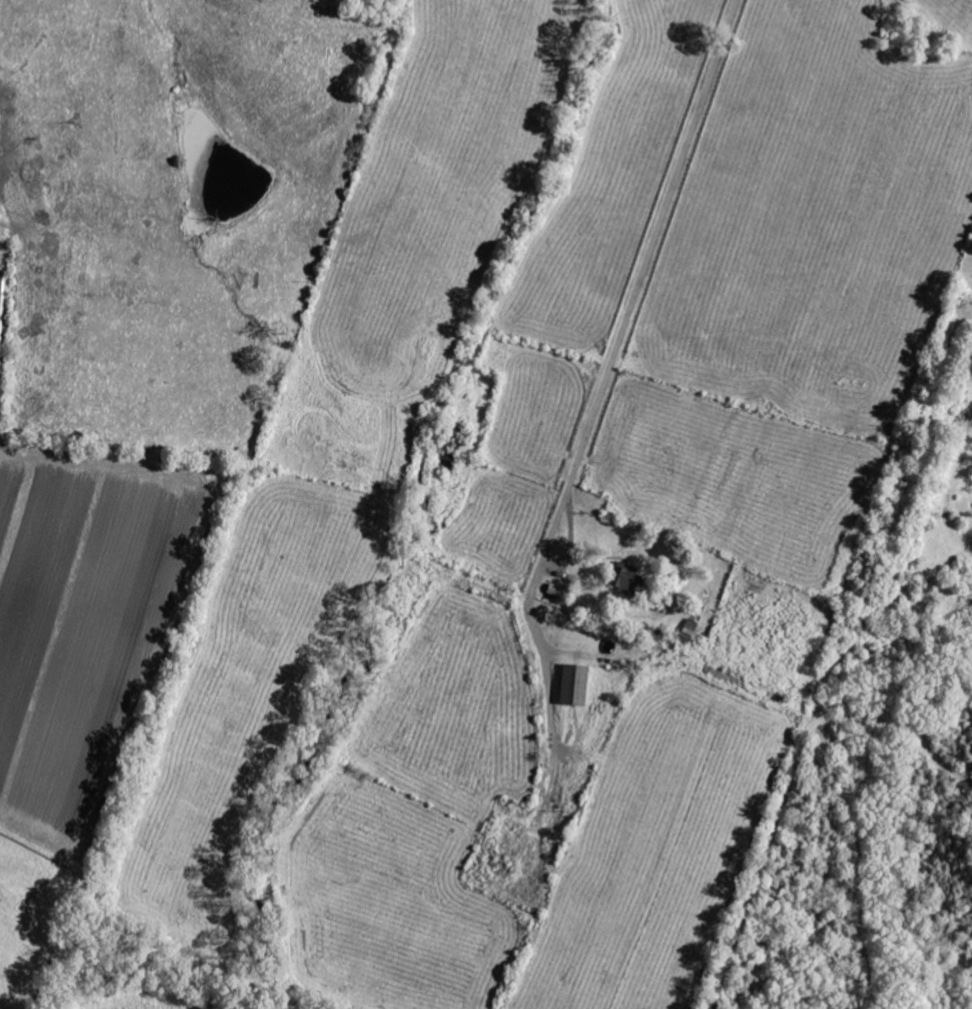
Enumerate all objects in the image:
road: (609, 370)
building: (625, 579)
building: (554, 590)
building: (572, 686)

